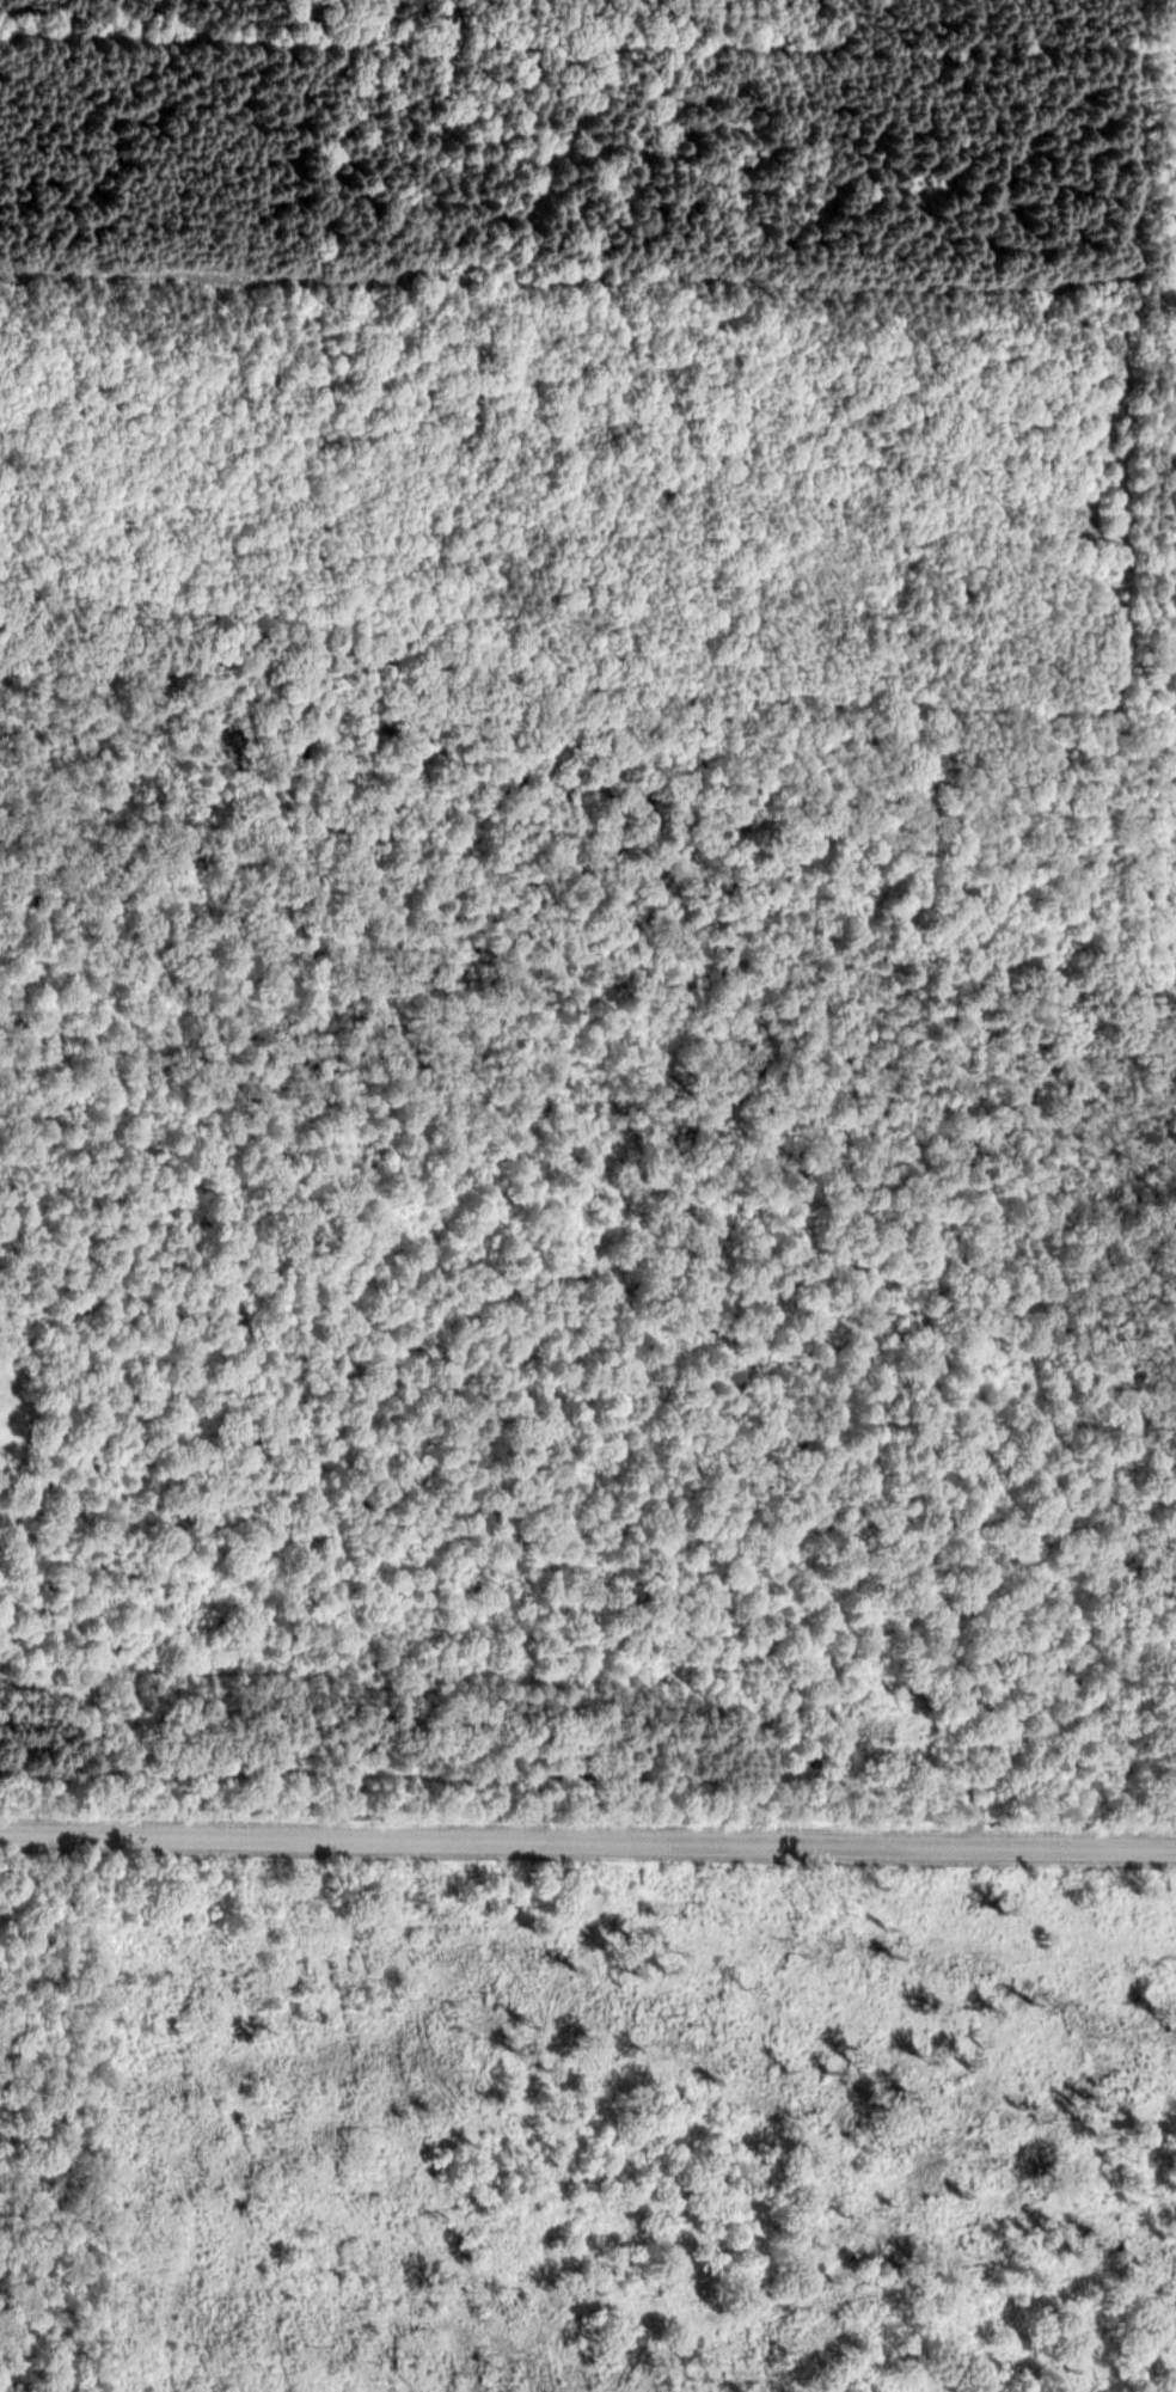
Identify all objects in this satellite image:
road: (588, 1836)

